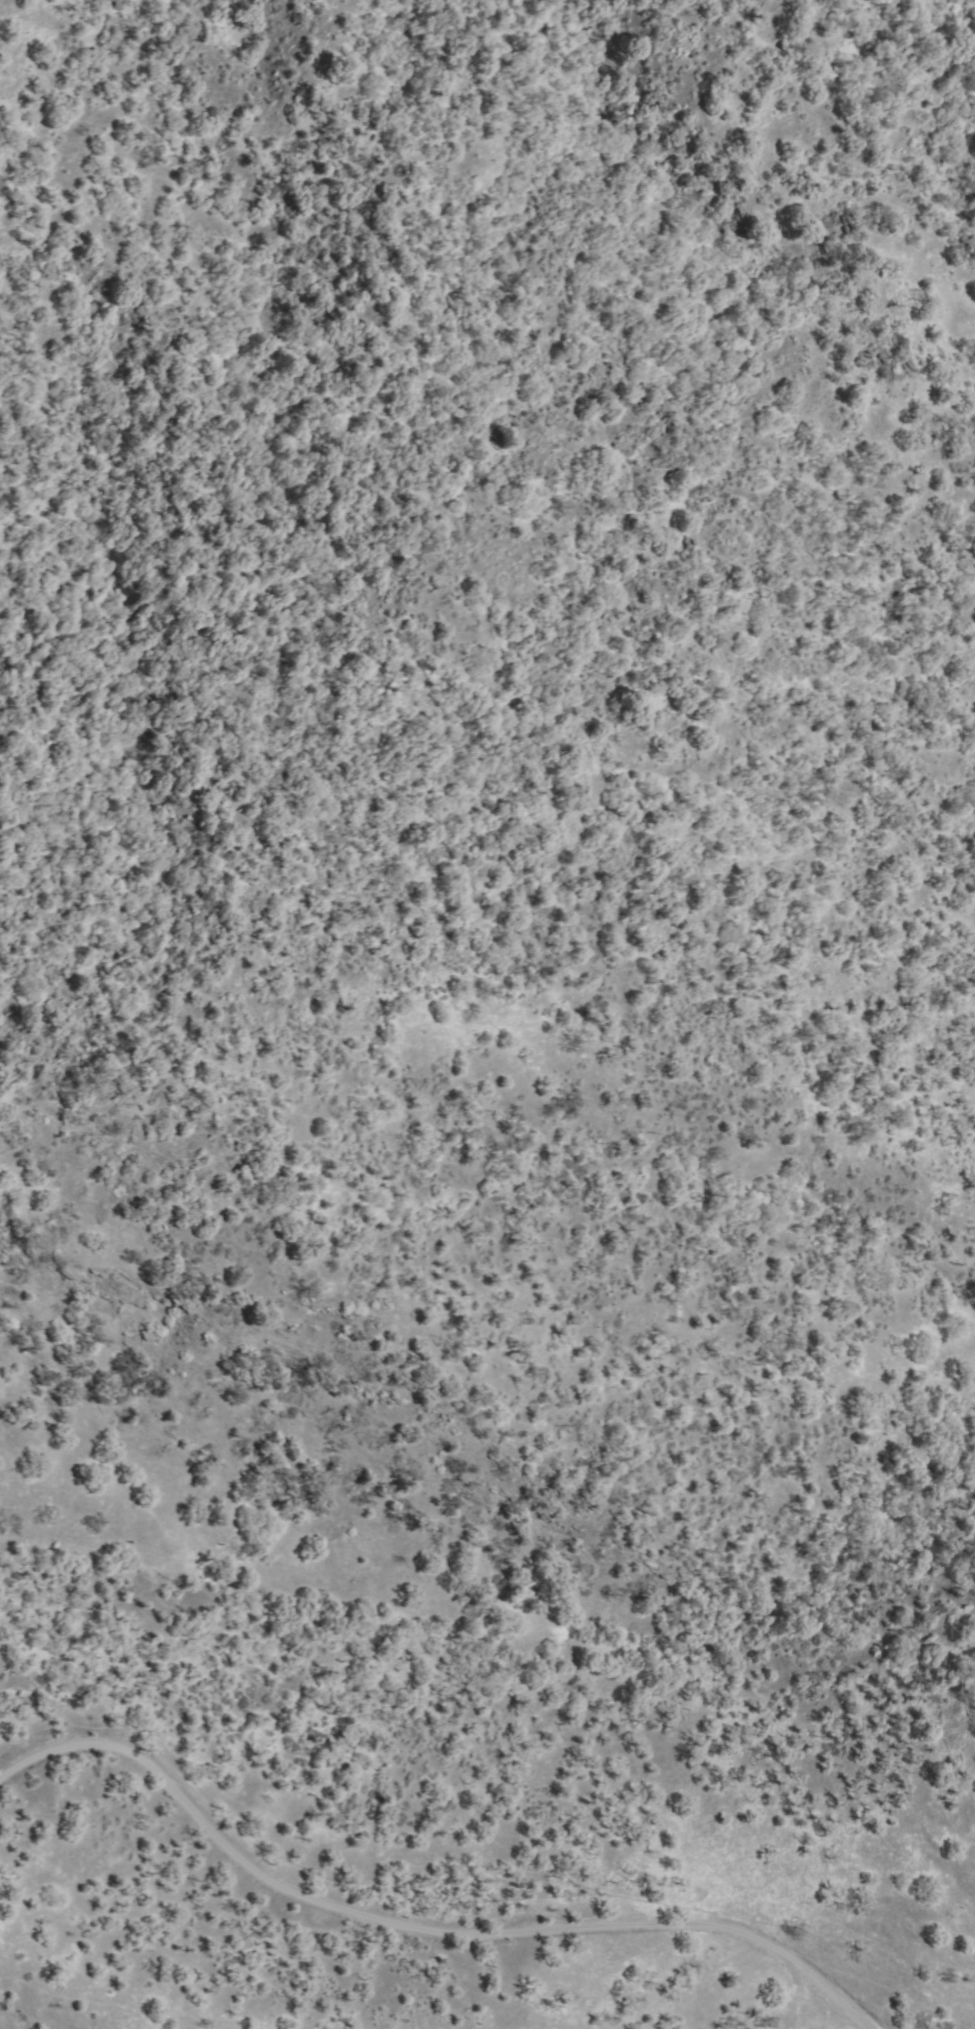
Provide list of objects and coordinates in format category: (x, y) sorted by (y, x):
road: (420, 1930)

